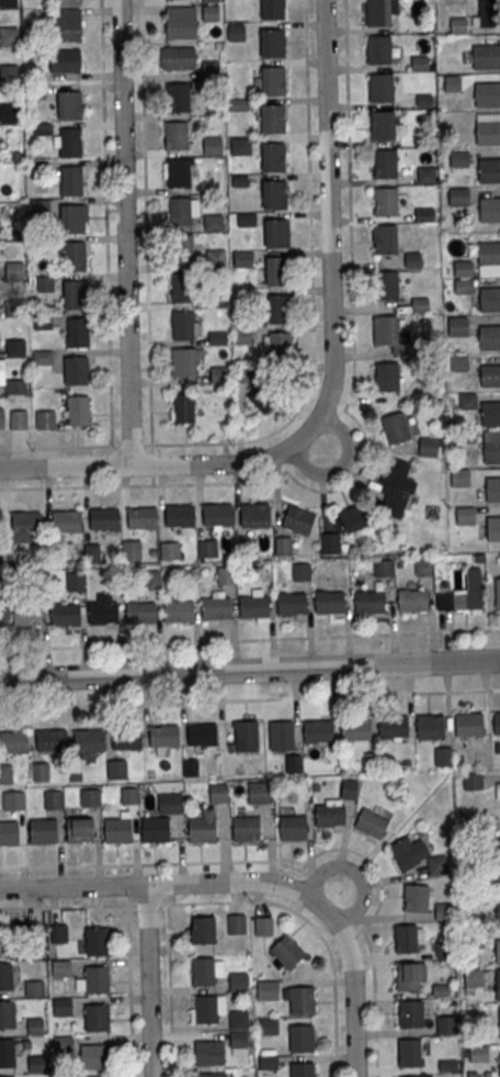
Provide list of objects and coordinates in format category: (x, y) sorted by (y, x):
building: (8, 2)
building: (68, 2)
building: (272, 9)
building: (377, 12)
building: (485, 13)
building: (211, 14)
building: (180, 21)
building: (66, 23)
building: (457, 25)
building: (236, 33)
building: (8, 35)
building: (271, 42)
building: (377, 48)
building: (486, 56)
building: (178, 57)
building: (65, 59)
building: (419, 63)
building: (211, 70)
building: (8, 74)
building: (272, 80)
building: (380, 87)
building: (487, 94)
building: (177, 97)
building: (423, 99)
building: (68, 104)
building: (238, 105)
building: (9, 112)
building: (272, 117)
building: (382, 124)
building: (42, 128)
building: (488, 132)
building: (174, 135)
building: (69, 142)
building: (212, 146)
building: (240, 146)
building: (273, 156)
building: (458, 158)
building: (384, 162)
building: (489, 169)
building: (178, 172)
building: (427, 173)
building: (70, 179)
building: (239, 181)
building: (274, 194)
building: (458, 195)
building: (385, 201)
building: (489, 209)
building: (179, 211)
building: (424, 214)
building: (70, 220)
building: (247, 221)
road: (106, 222)
road: (146, 222)
building: (212, 224)
road: (126, 232)
building: (275, 232)
building: (385, 238)
building: (183, 248)
building: (489, 251)
building: (73, 255)
building: (242, 259)
building: (215, 260)
building: (412, 260)
building: (464, 269)
building: (276, 270)
building: (386, 284)
building: (182, 287)
building: (464, 288)
building: (73, 294)
building: (489, 299)
building: (215, 300)
building: (419, 305)
building: (280, 308)
building: (182, 324)
building: (458, 327)
building: (385, 329)
building: (77, 332)
building: (242, 335)
building: (216, 337)
building: (489, 337)
building: (281, 345)
building: (15, 347)
road: (311, 361)
building: (183, 362)
building: (458, 364)
building: (76, 369)
building: (2, 373)
building: (490, 374)
road: (330, 375)
building: (386, 377)
building: (15, 385)
building: (262, 397)
building: (467, 402)
building: (182, 407)
building: (78, 410)
building: (1, 413)
building: (490, 413)
building: (18, 418)
building: (45, 418)
road: (356, 419)
building: (395, 427)
building: (466, 438)
building: (430, 446)
building: (491, 448)
building: (459, 479)
building: (395, 486)
building: (492, 489)
building: (217, 514)
building: (254, 514)
building: (180, 515)
building: (465, 516)
building: (141, 517)
building: (353, 517)
building: (104, 518)
building: (66, 519)
building: (298, 519)
building: (25, 521)
building: (493, 527)
building: (329, 542)
building: (282, 546)
building: (206, 548)
building: (132, 550)
building: (170, 550)
building: (91, 552)
building: (383, 566)
building: (422, 566)
building: (300, 571)
building: (226, 574)
building: (152, 579)
building: (75, 581)
building: (463, 593)
building: (497, 593)
building: (411, 599)
building: (292, 602)
building: (329, 602)
building: (370, 602)
building: (253, 605)
building: (217, 607)
building: (179, 610)
building: (102, 612)
building: (141, 612)
building: (65, 613)
building: (27, 614)
building: (2, 615)
road: (250, 639)
road: (250, 670)
road: (250, 698)
building: (496, 722)
building: (468, 723)
building: (430, 725)
building: (394, 726)
building: (355, 729)
building: (318, 732)
building: (164, 734)
building: (203, 734)
building: (281, 734)
building: (245, 736)
building: (127, 738)
building: (50, 739)
building: (89, 740)
building: (13, 741)
building: (293, 763)
building: (116, 769)
building: (41, 772)
building: (5, 773)
building: (471, 781)
building: (218, 792)
building: (259, 792)
building: (498, 793)
building: (128, 795)
building: (90, 796)
building: (12, 799)
building: (53, 799)
building: (170, 803)
building: (334, 807)
building: (371, 822)
building: (292, 827)
building: (155, 828)
building: (246, 828)
building: (80, 829)
building: (116, 829)
building: (202, 829)
building: (42, 830)
building: (9, 832)
road: (154, 864)
building: (436, 864)
road: (355, 874)
building: (497, 874)
road: (253, 882)
building: (416, 897)
road: (147, 904)
road: (64, 906)
building: (444, 911)
building: (498, 912)
building: (236, 923)
building: (263, 924)
road: (314, 927)
building: (202, 929)
building: (58, 932)
building: (408, 938)
building: (5, 939)
building: (96, 941)
building: (444, 949)
building: (286, 951)
building: (497, 951)
building: (60, 967)
building: (202, 973)
building: (5, 976)
building: (410, 976)
building: (474, 977)
building: (95, 978)
road: (147, 980)
building: (498, 980)
building: (238, 983)
building: (33, 987)
building: (440, 989)
building: (266, 991)
building: (300, 999)
building: (60, 1005)
building: (205, 1010)
building: (7, 1013)
building: (410, 1013)
building: (96, 1018)
building: (238, 1020)
road: (374, 1023)
building: (34, 1024)
building: (446, 1024)
building: (499, 1026)
building: (268, 1028)
building: (300, 1037)
building: (238, 1041)
building: (63, 1043)
building: (408, 1051)
building: (7, 1052)
building: (478, 1053)
building: (208, 1054)
building: (94, 1056)
building: (37, 1063)
building: (269, 1064)
building: (499, 1064)
building: (448, 1065)
building: (302, 1069)
building: (94, 1076)
building: (211, 1076)
building: (414, 1076)

